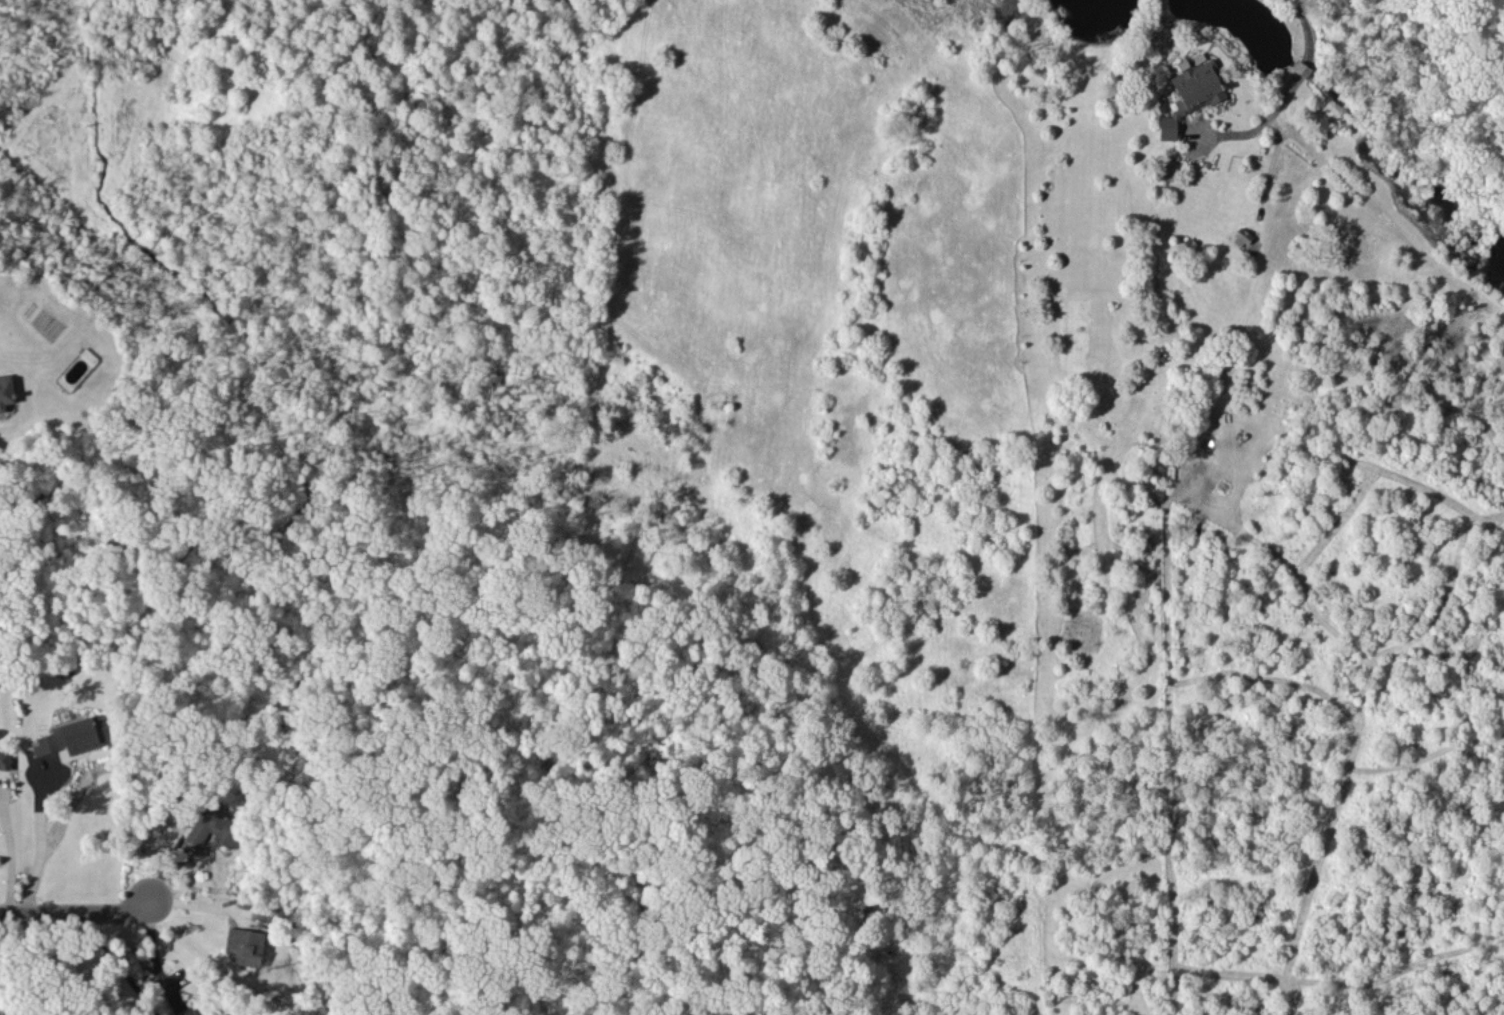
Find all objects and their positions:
road: (1302, 24)
building: (1191, 92)
building: (1242, 237)
building: (6, 389)
building: (72, 738)
building: (5, 760)
building: (213, 829)
road: (30, 845)
road: (2, 864)
road: (74, 912)
building: (245, 946)
road: (154, 956)
building: (188, 1012)
building: (220, 1014)

